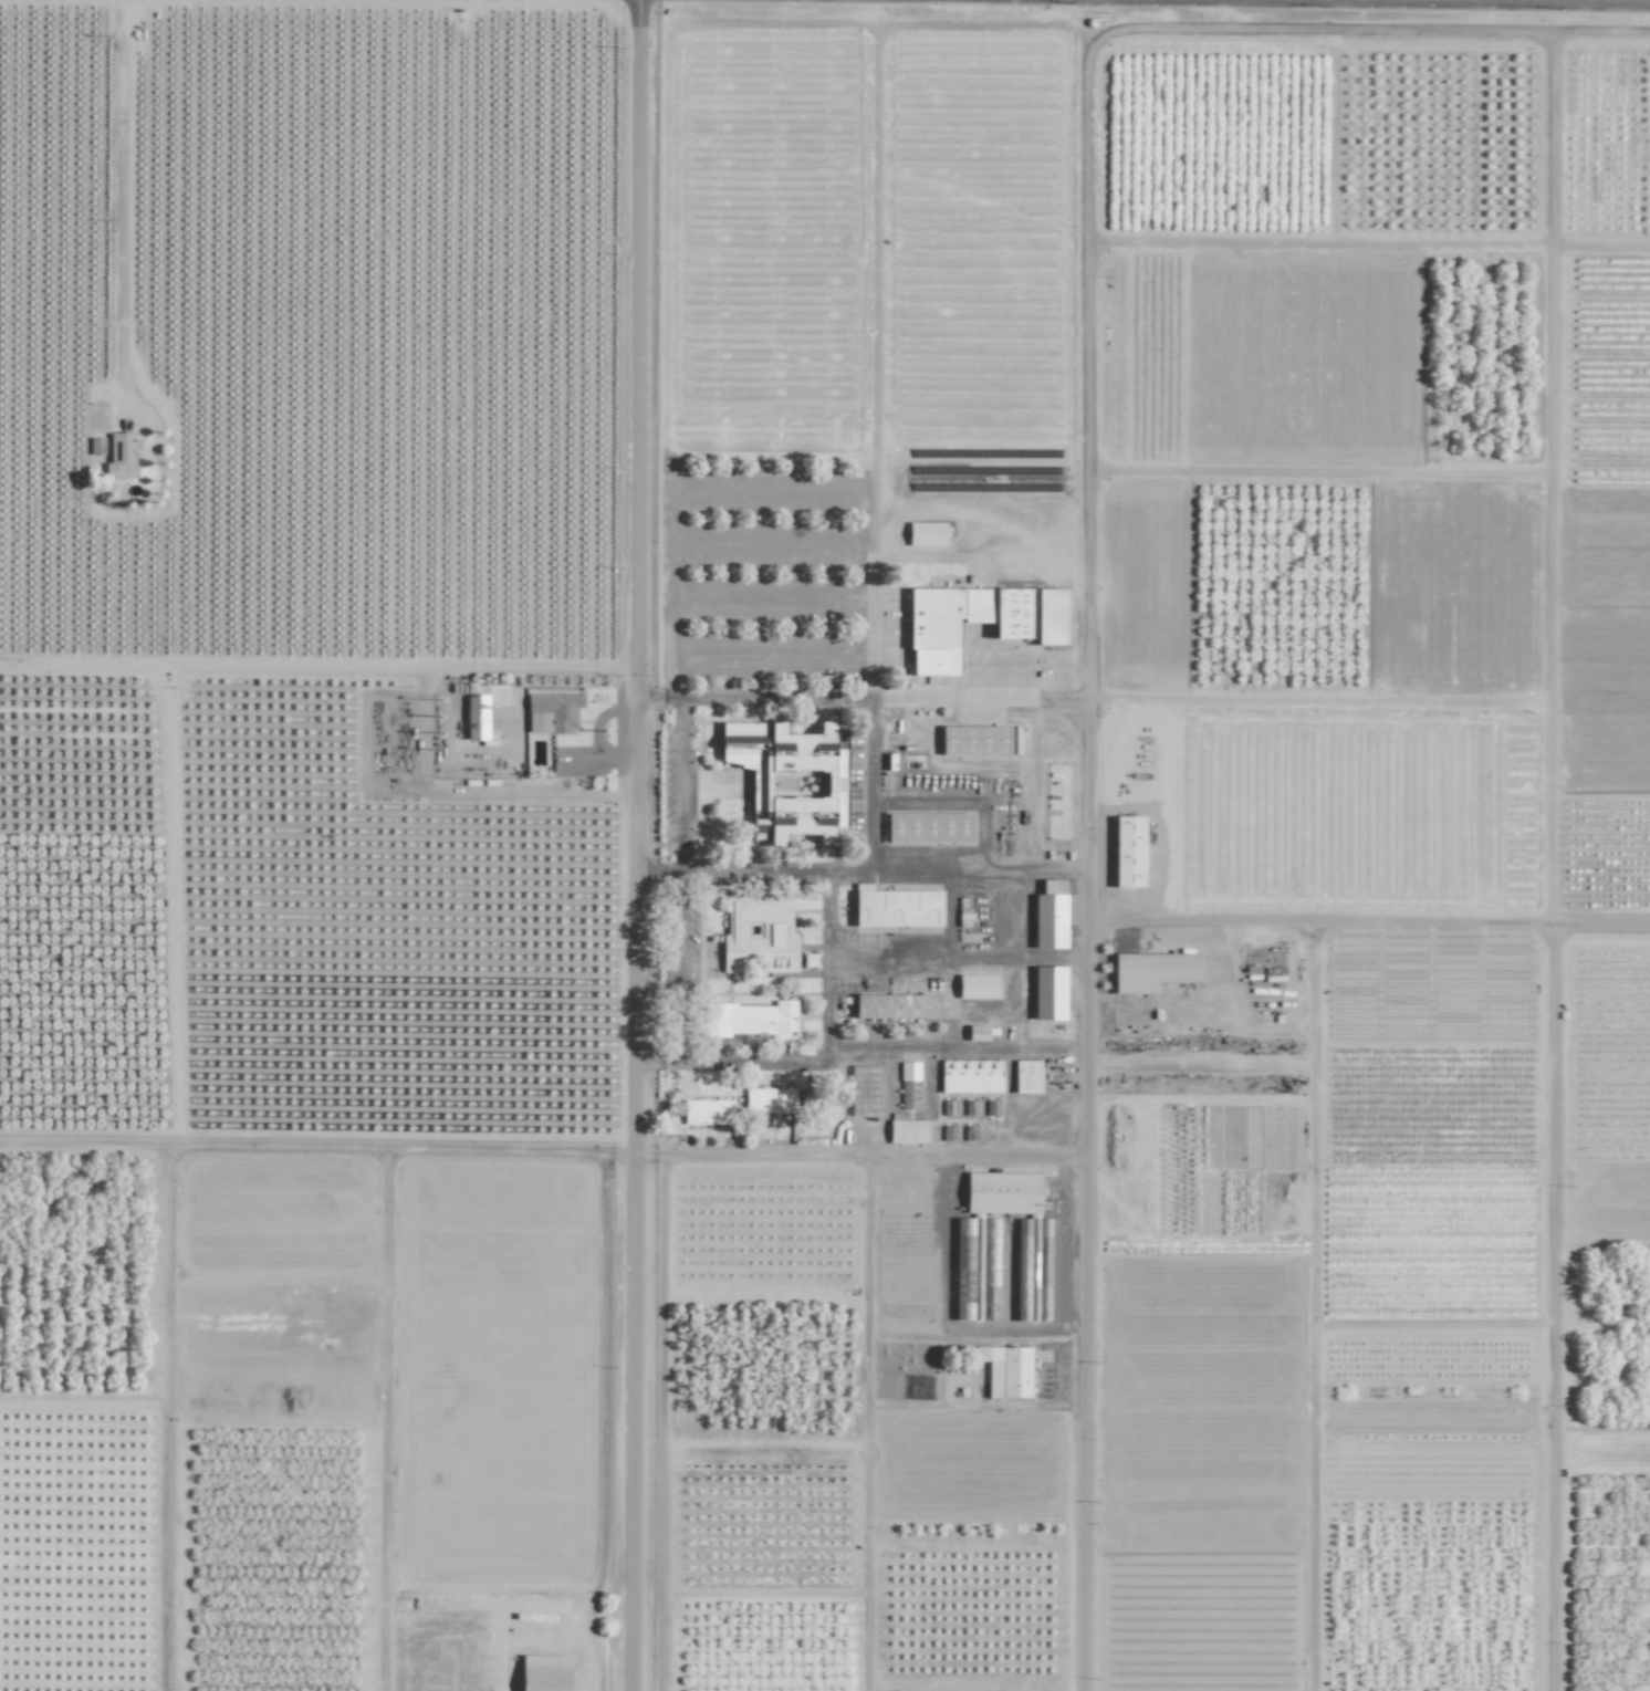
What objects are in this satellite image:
road: (874, 33)
road: (117, 201)
building: (121, 456)
building: (926, 534)
building: (1049, 616)
building: (933, 629)
building: (480, 712)
building: (552, 712)
building: (974, 740)
road: (870, 785)
road: (494, 792)
building: (929, 828)
road: (635, 845)
building: (1128, 850)
road: (979, 870)
building: (751, 901)
building: (896, 908)
building: (1052, 914)
road: (1256, 922)
road: (1549, 969)
building: (1152, 971)
road: (657, 987)
building: (977, 987)
road: (678, 989)
building: (1048, 993)
building: (897, 1006)
building: (977, 1032)
building: (970, 1076)
building: (1026, 1076)
building: (909, 1085)
building: (864, 1090)
building: (907, 1131)
road: (859, 1155)
building: (1002, 1192)
building: (975, 1269)
road: (1084, 1304)
building: (1005, 1370)
road: (866, 1422)
building: (544, 1672)

